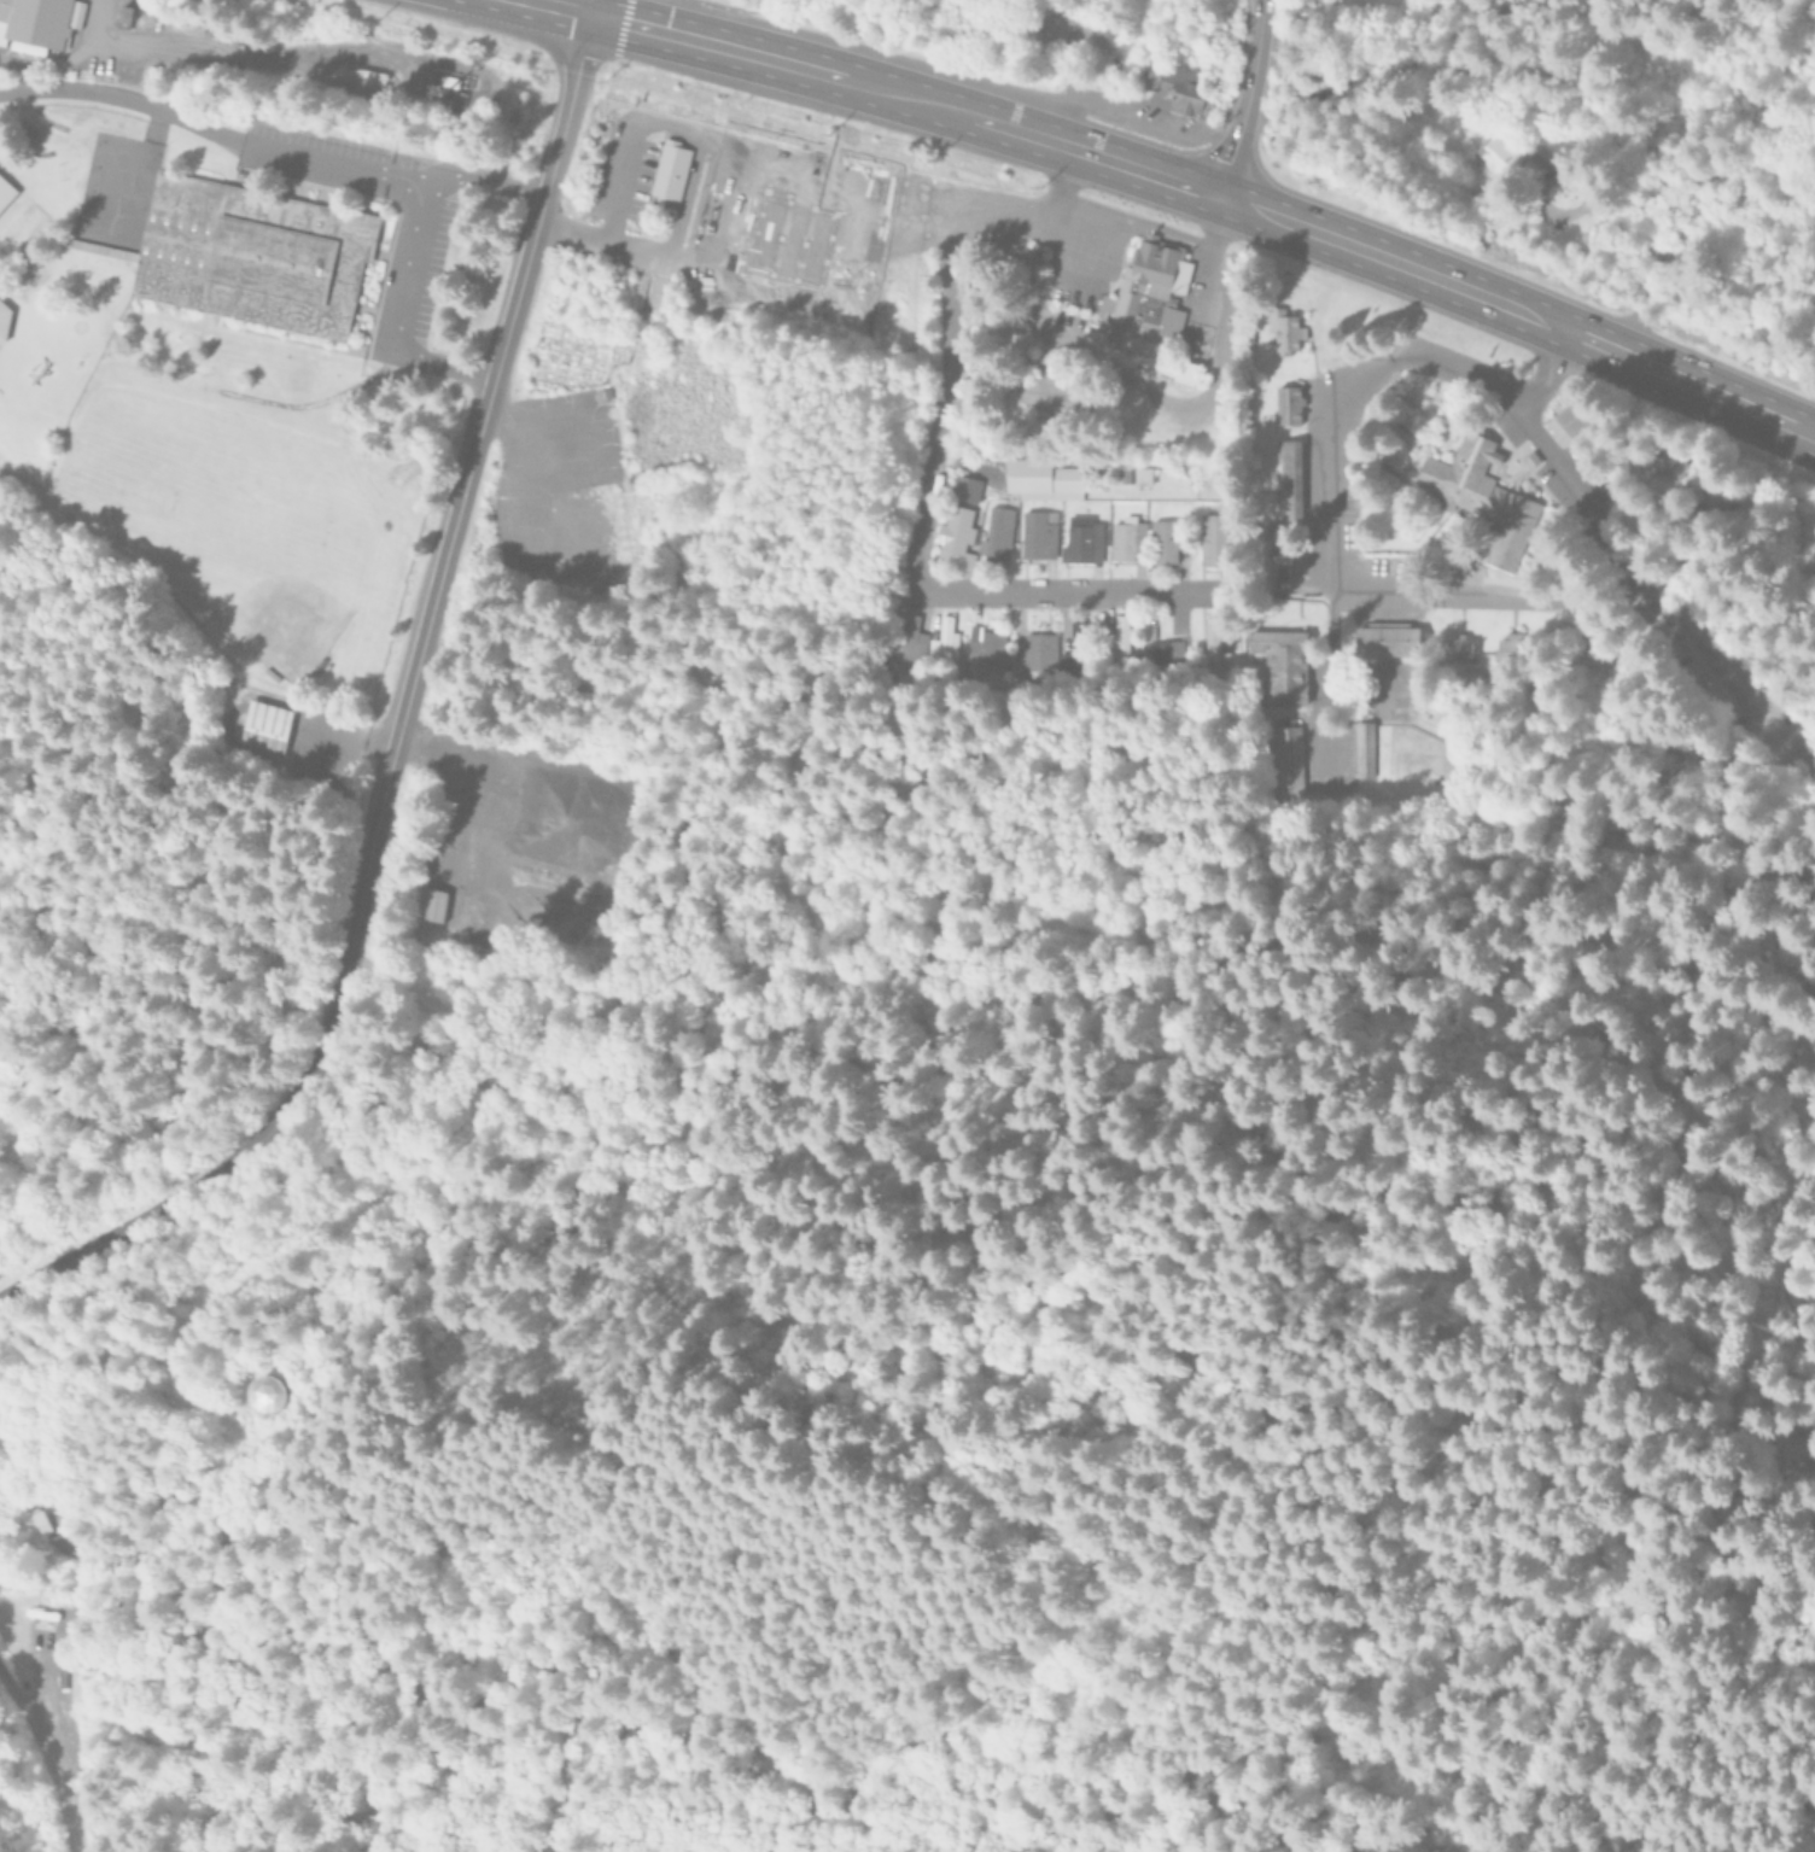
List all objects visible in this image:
road: (649, 13)
road: (1251, 16)
building: (35, 22)
road: (636, 23)
road: (68, 54)
road: (1249, 64)
road: (315, 66)
road: (823, 71)
road: (1063, 94)
road: (667, 122)
road: (211, 130)
road: (1074, 145)
road: (1242, 146)
building: (1498, 154)
road: (782, 160)
building: (670, 168)
road: (484, 176)
building: (5, 188)
parking lot: (722, 229)
building: (790, 236)
building: (250, 251)
building: (1144, 297)
road: (398, 305)
road: (1527, 311)
building: (4, 322)
building: (1286, 332)
building: (1179, 370)
road: (1132, 379)
building: (1289, 407)
building: (1571, 420)
road: (510, 436)
road: (585, 450)
road: (1329, 452)
park: (191, 469)
building: (1143, 478)
building: (1441, 478)
building: (1044, 480)
building: (1289, 483)
building: (965, 490)
road: (923, 519)
building: (997, 533)
building: (1039, 534)
building: (955, 539)
building: (1127, 539)
building: (590, 541)
building: (1082, 541)
building: (1214, 541)
building: (1163, 543)
road: (1604, 591)
park: (287, 596)
building: (1213, 633)
building: (1120, 637)
building: (904, 639)
building: (1387, 639)
building: (941, 642)
building: (1460, 647)
building: (1510, 648)
building: (1072, 652)
building: (1009, 654)
building: (1163, 654)
road: (1712, 665)
building: (1283, 666)
parking lot: (1738, 702)
road: (392, 715)
building: (263, 726)
road: (1813, 744)
building: (1364, 749)
road: (1668, 847)
building: (430, 905)
building: (263, 1394)
road: (1539, 1462)
building: (25, 1520)

